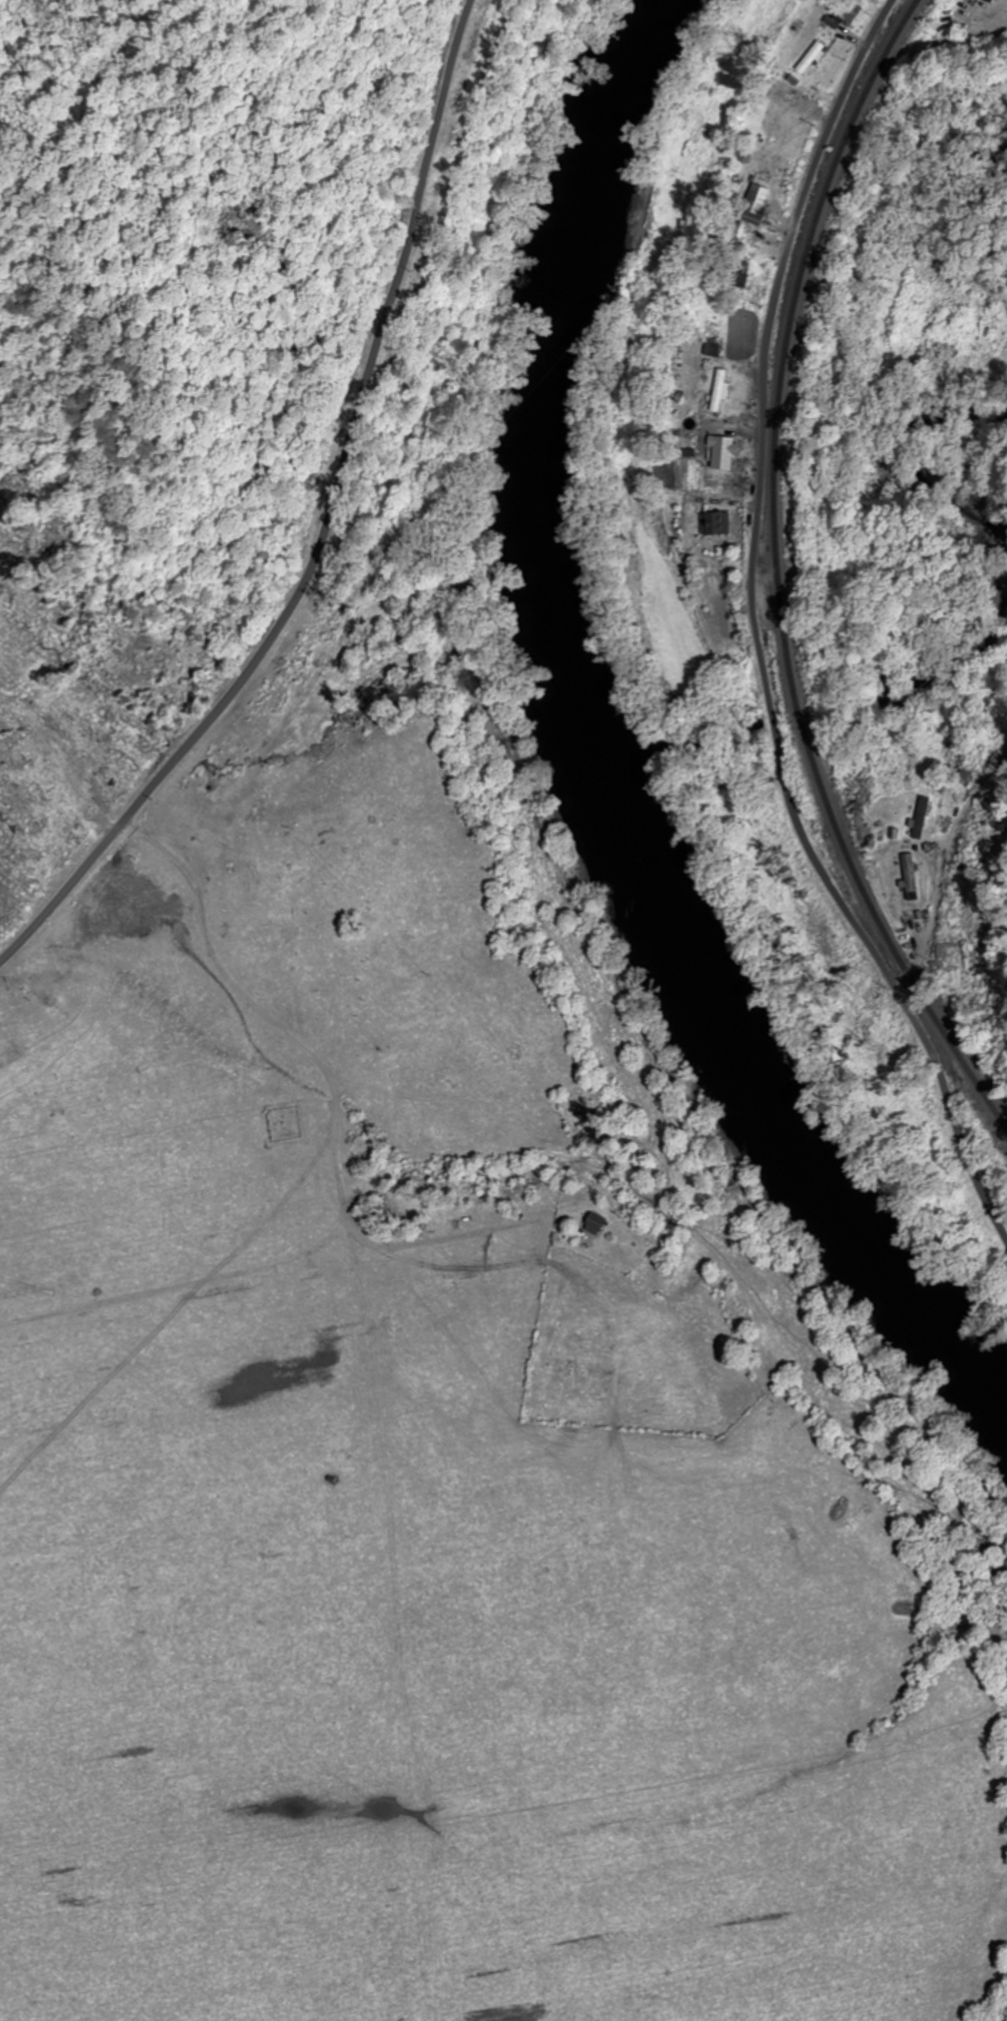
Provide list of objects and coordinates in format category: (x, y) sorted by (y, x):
building: (809, 57)
building: (756, 198)
building: (718, 389)
building: (712, 523)
road: (326, 527)
railway: (781, 576)
road: (759, 636)
river: (617, 741)
road: (955, 852)
road: (233, 982)
building: (590, 1226)

